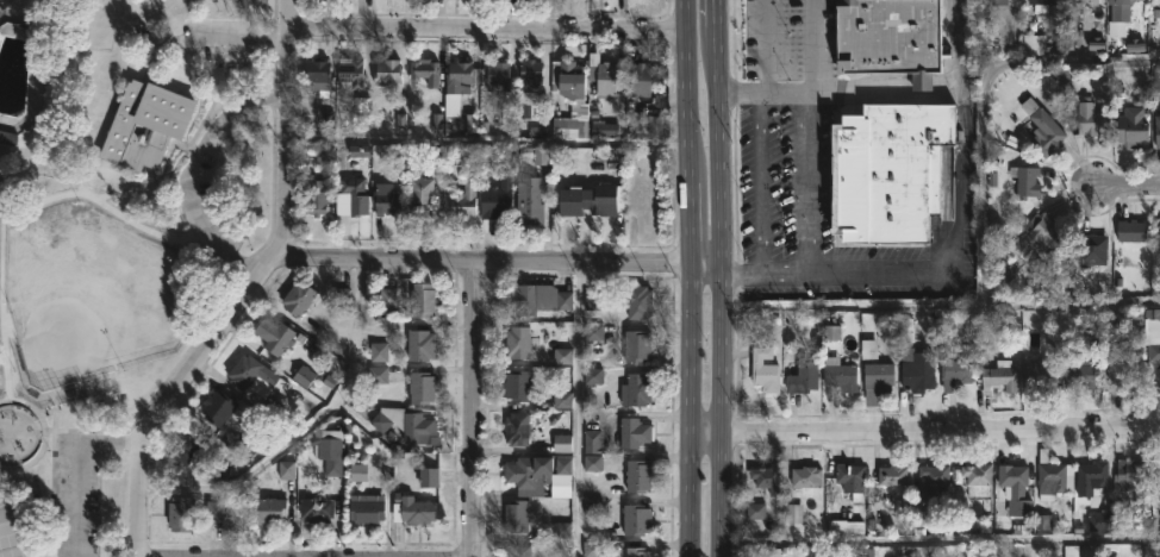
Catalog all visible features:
building: (1086, 0)
building: (1000, 1)
building: (1043, 4)
building: (1121, 10)
road: (487, 27)
parking lot: (219, 38)
building: (892, 38)
road: (236, 39)
road: (809, 44)
road: (1130, 61)
building: (424, 70)
road: (765, 70)
building: (387, 71)
building: (350, 73)
building: (317, 74)
building: (530, 74)
building: (500, 75)
building: (603, 75)
road: (948, 76)
building: (640, 77)
building: (568, 80)
building: (459, 82)
road: (258, 83)
road: (923, 83)
road: (887, 85)
road: (58, 87)
road: (813, 88)
building: (1093, 118)
building: (146, 124)
building: (601, 125)
building: (1135, 125)
building: (570, 126)
building: (1044, 129)
road: (288, 130)
building: (7, 137)
building: (1156, 137)
road: (173, 142)
road: (488, 143)
building: (542, 156)
building: (890, 169)
parking lot: (192, 176)
building: (1025, 180)
road: (806, 181)
road: (187, 182)
road: (1118, 182)
road: (760, 183)
building: (1, 189)
building: (318, 196)
building: (355, 196)
building: (422, 196)
building: (466, 198)
building: (386, 199)
building: (591, 199)
road: (99, 200)
building: (497, 200)
building: (530, 200)
building: (1133, 230)
building: (1159, 232)
park: (114, 233)
building: (1042, 233)
road: (264, 239)
building: (1093, 249)
road: (498, 258)
road: (949, 259)
building: (1003, 273)
road: (2, 274)
road: (688, 277)
road: (722, 277)
building: (300, 298)
building: (424, 299)
building: (519, 299)
building: (391, 300)
park: (92, 301)
building: (640, 301)
road: (941, 308)
building: (274, 334)
building: (518, 343)
building: (422, 344)
building: (638, 346)
building: (1152, 351)
building: (813, 353)
building: (765, 369)
building: (1124, 370)
building: (921, 371)
building: (956, 373)
building: (1080, 373)
building: (840, 374)
building: (805, 376)
building: (1002, 376)
building: (880, 377)
building: (1041, 377)
building: (260, 382)
building: (518, 386)
building: (422, 388)
building: (636, 389)
road: (173, 395)
road: (343, 398)
building: (218, 407)
road: (474, 407)
road: (581, 408)
road: (46, 411)
road: (54, 418)
building: (405, 424)
building: (518, 428)
road: (924, 430)
road: (94, 431)
road: (44, 432)
building: (634, 432)
building: (563, 444)
building: (189, 445)
building: (331, 455)
building: (595, 464)
road: (77, 465)
building: (566, 468)
building: (1159, 469)
building: (213, 471)
building: (979, 472)
building: (893, 474)
building: (638, 475)
building: (432, 476)
building: (936, 476)
building: (1054, 476)
building: (1093, 476)
building: (1133, 476)
building: (767, 477)
building: (807, 477)
building: (853, 477)
building: (523, 478)
road: (8, 482)
building: (1016, 488)
road: (63, 493)
parking lot: (75, 495)
building: (317, 508)
building: (269, 509)
building: (368, 511)
building: (418, 511)
road: (6, 512)
building: (217, 512)
building: (757, 512)
building: (180, 514)
building: (518, 514)
building: (637, 519)
park: (15, 534)
road: (924, 547)
building: (519, 549)
building: (637, 551)
park: (0, 553)
road: (185, 556)

